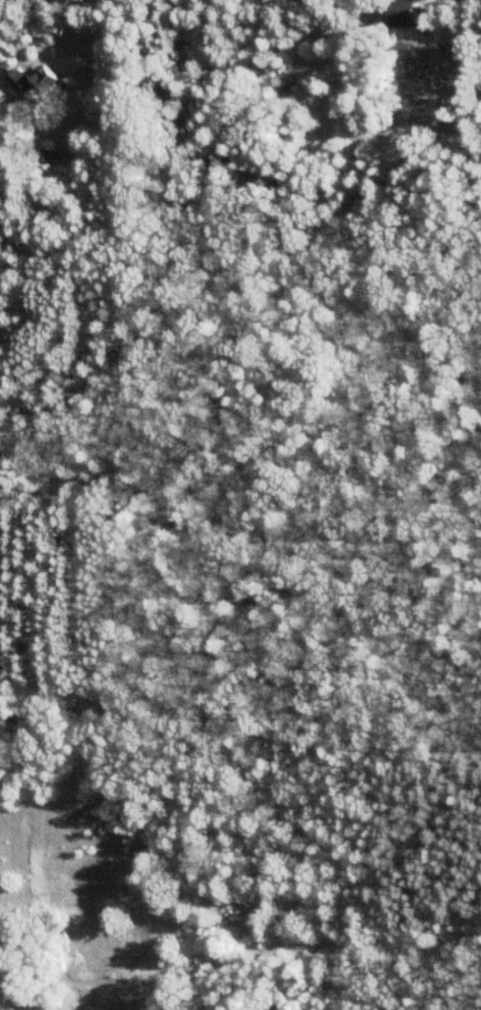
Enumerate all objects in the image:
building: (469, 1)
building: (409, 17)
building: (37, 82)
building: (51, 154)

